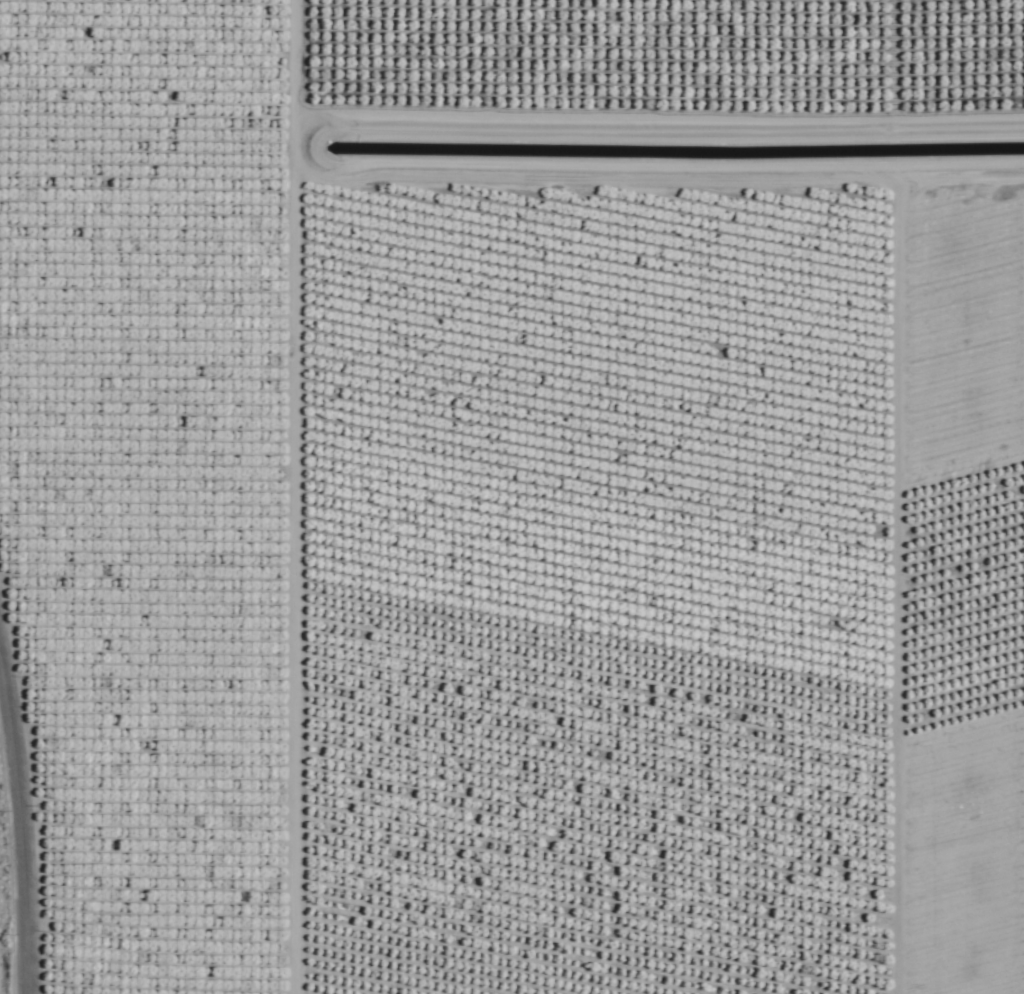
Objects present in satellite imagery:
building: (968, 328)
building: (197, 378)
crop: (512, 496)
road: (22, 828)

